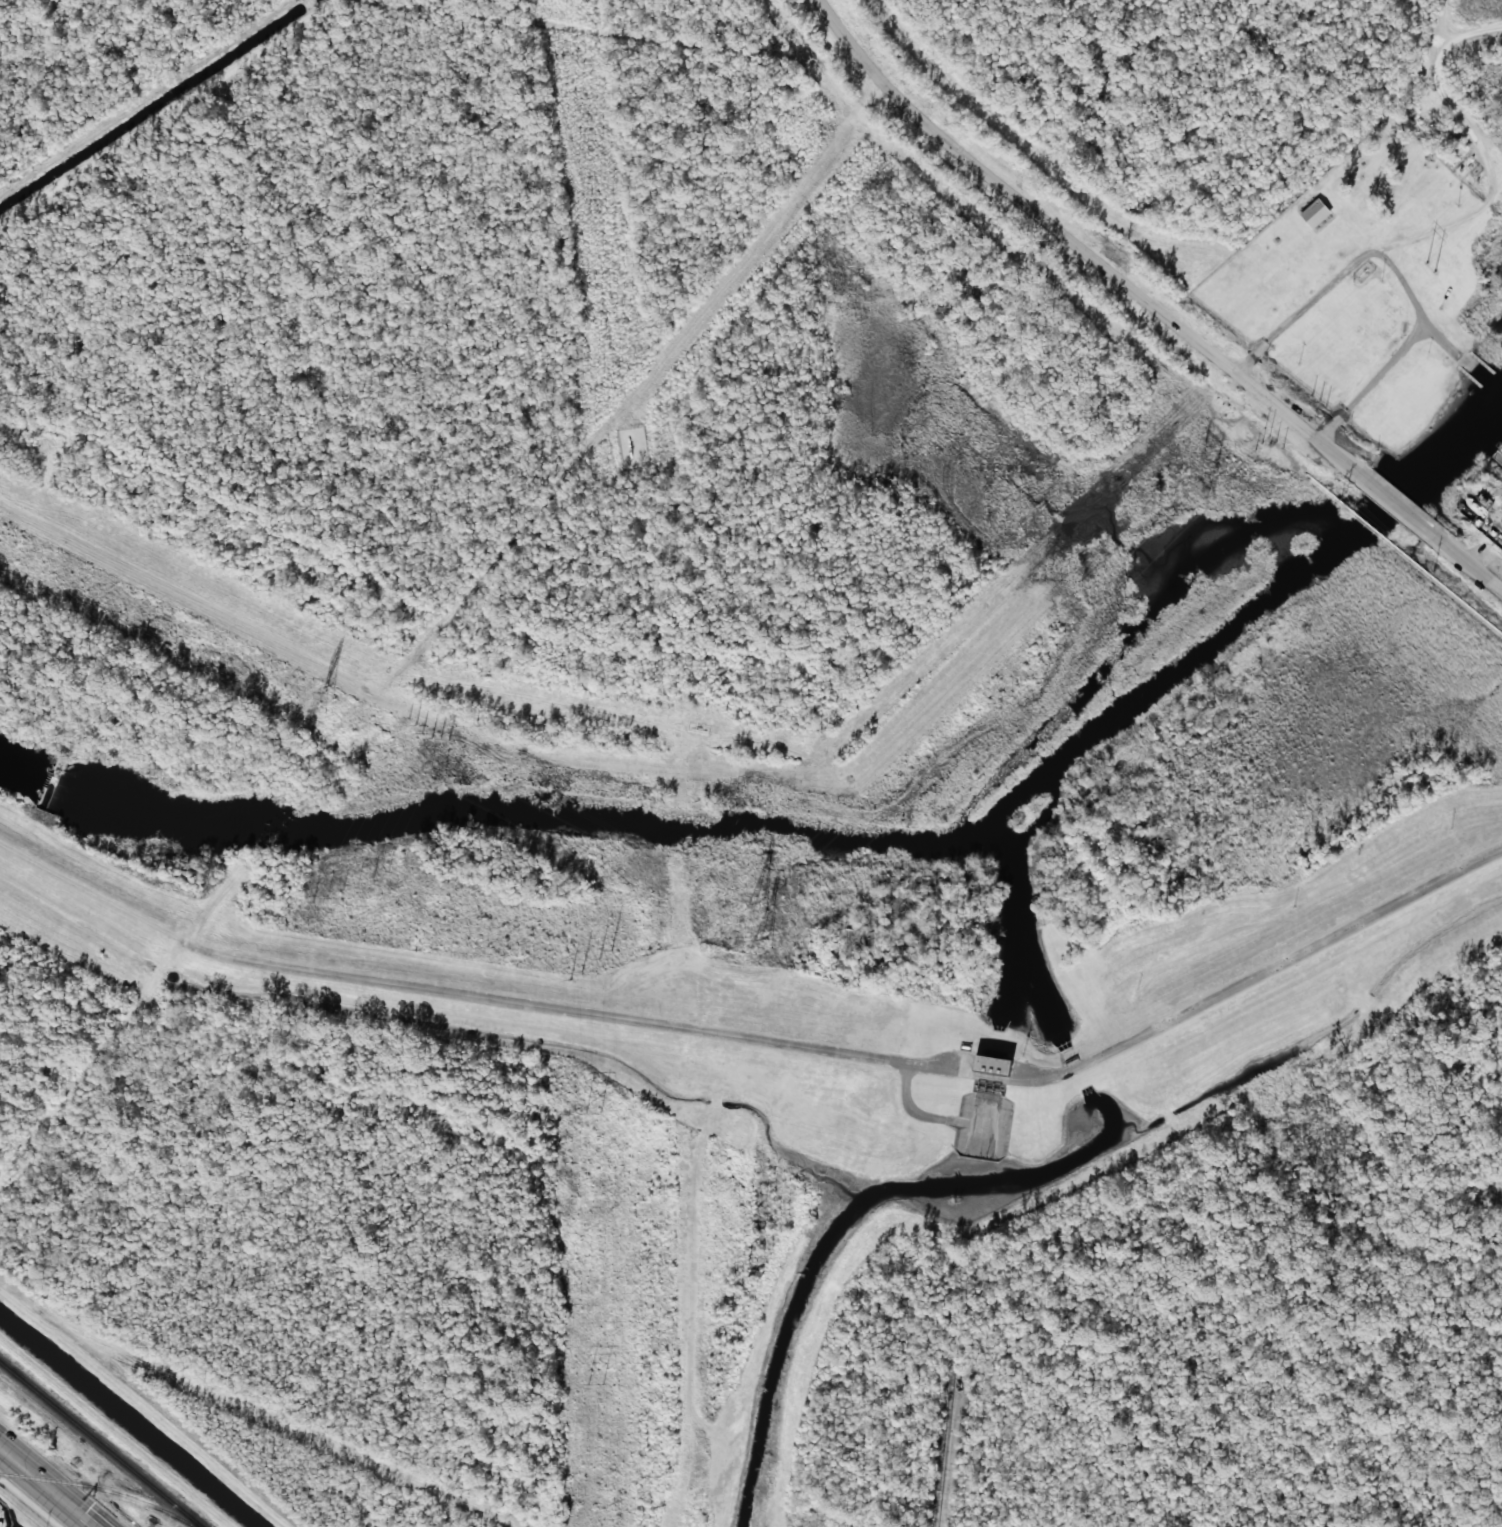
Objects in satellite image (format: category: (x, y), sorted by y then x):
building: (1315, 213)
road: (1075, 239)
building: (1388, 315)
road: (589, 439)
power tower: (1203, 492)
road: (1388, 495)
road: (1464, 561)
power tower: (328, 704)
road: (212, 892)
power tower: (761, 907)
road: (862, 1053)
building: (993, 1064)
power tower: (590, 1113)
power tower: (595, 1385)
railway: (101, 1444)
road: (49, 1485)
railway: (99, 1488)

